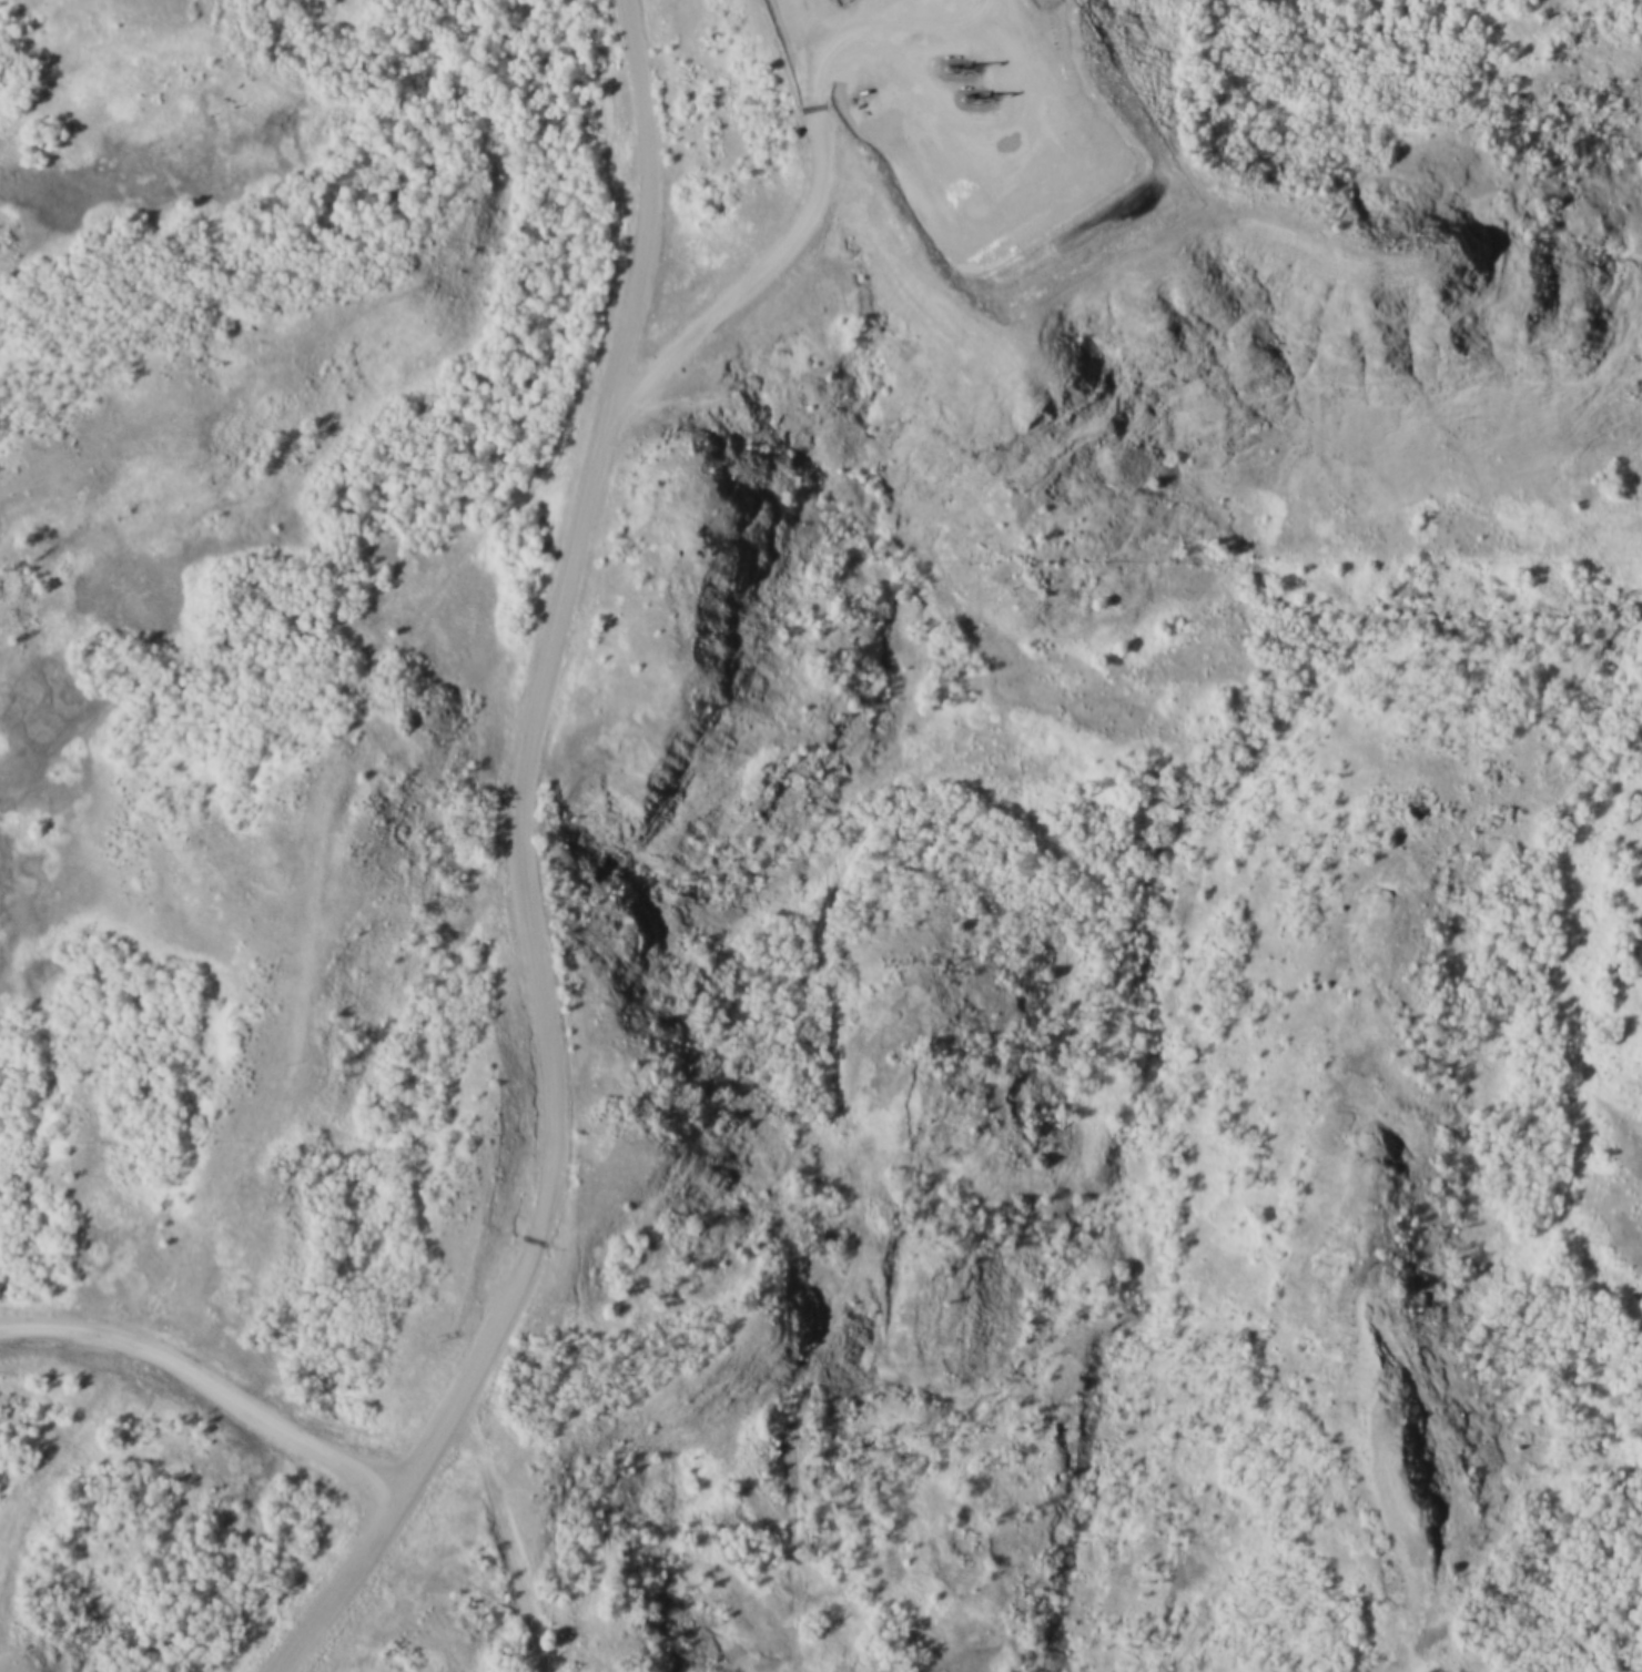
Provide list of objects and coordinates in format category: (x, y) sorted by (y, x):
petroleum well: (946, 63)
petroleum well: (965, 98)
road: (538, 865)
road: (518, 1541)

